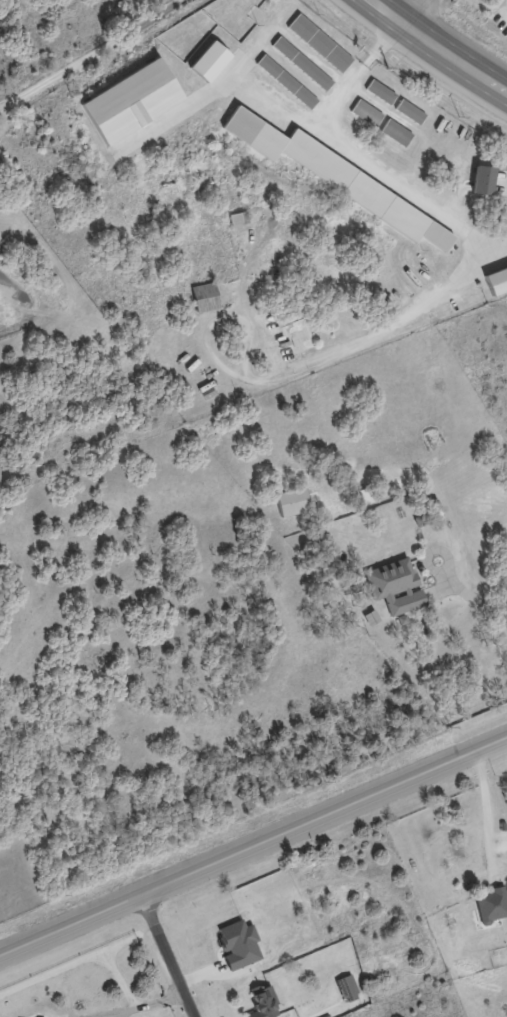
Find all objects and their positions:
road: (410, 10)
building: (319, 43)
road: (438, 48)
road: (93, 57)
building: (209, 61)
building: (301, 63)
building: (286, 81)
building: (380, 92)
building: (131, 101)
building: (409, 111)
building: (366, 113)
building: (396, 132)
road: (358, 155)
building: (337, 177)
building: (482, 180)
building: (238, 218)
building: (496, 278)
building: (204, 297)
road: (300, 360)
building: (292, 501)
building: (394, 586)
road: (482, 600)
road: (488, 807)
road: (253, 844)
building: (491, 907)
building: (240, 946)
road: (168, 954)
building: (346, 988)
building: (265, 1001)
road: (138, 1004)
building: (38, 1016)

